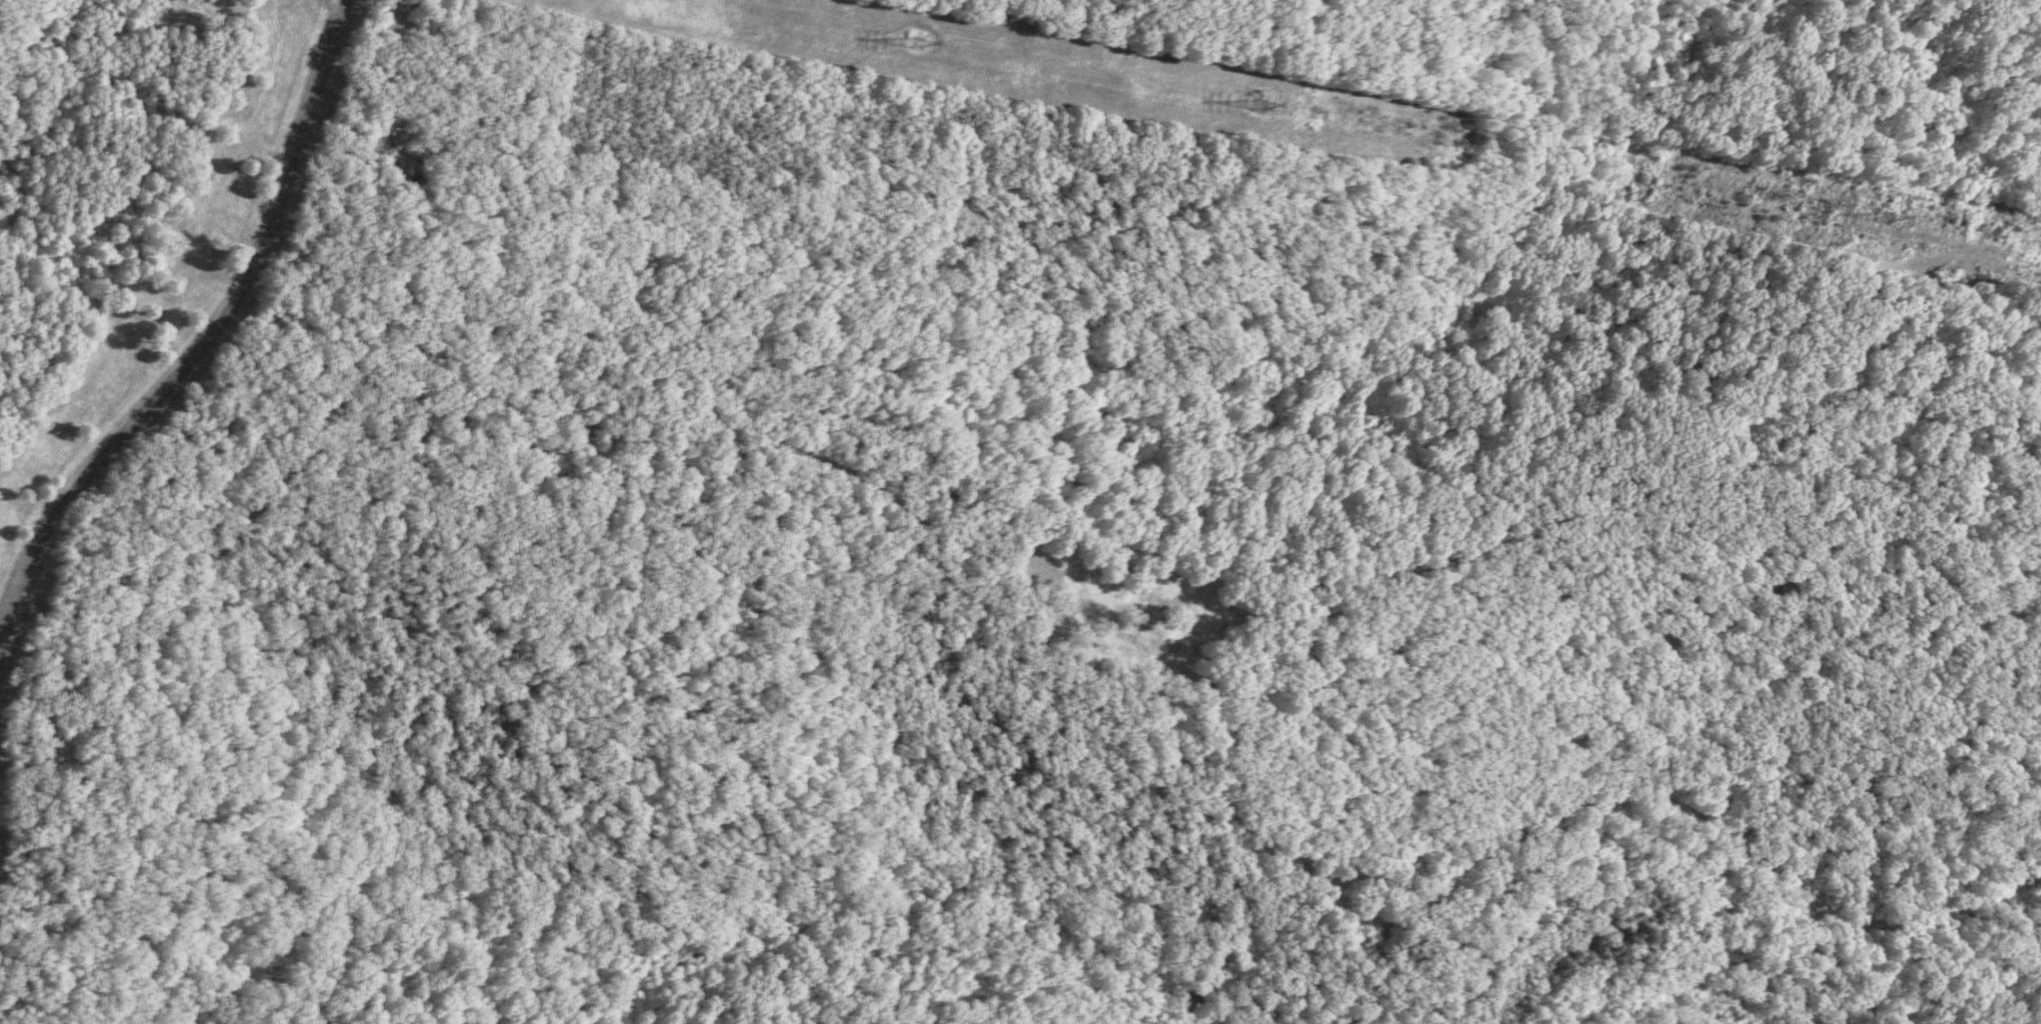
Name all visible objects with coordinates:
road: (205, 355)

